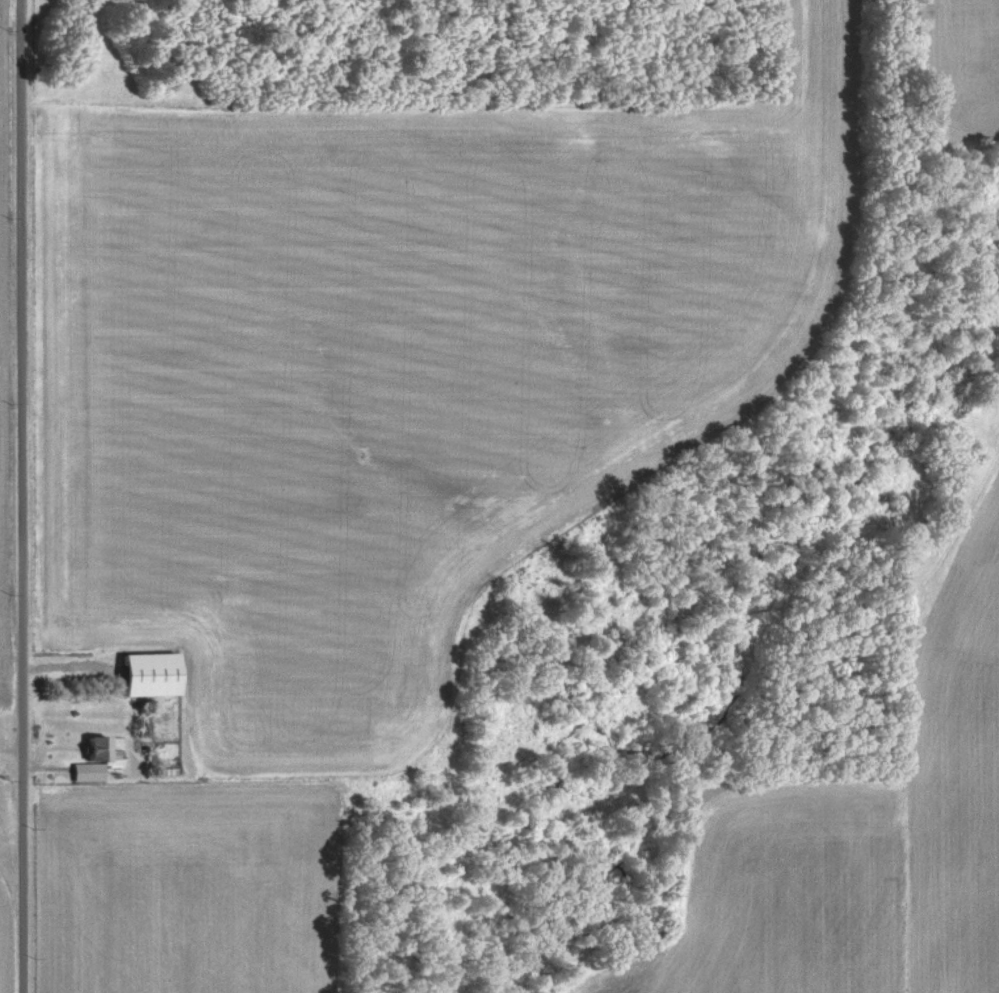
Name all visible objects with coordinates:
road: (20, 496)
building: (98, 759)

